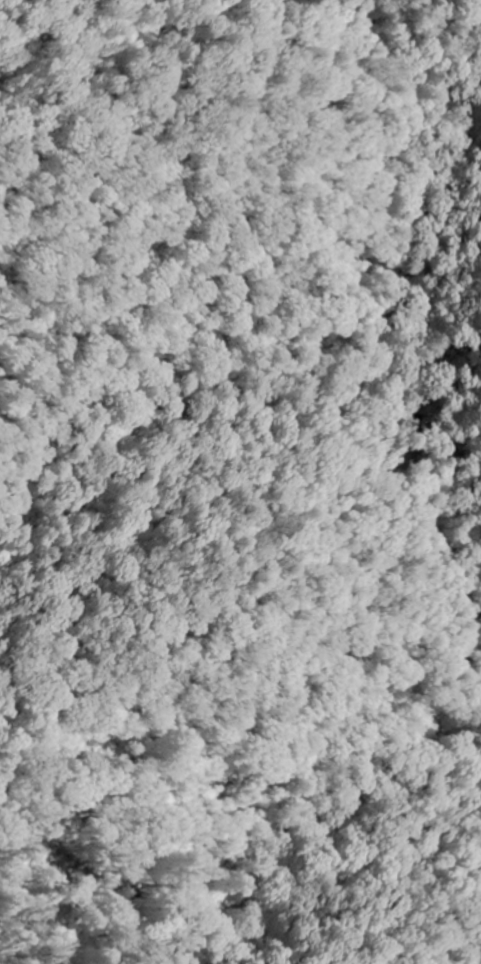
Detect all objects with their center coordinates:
road: (416, 527)

